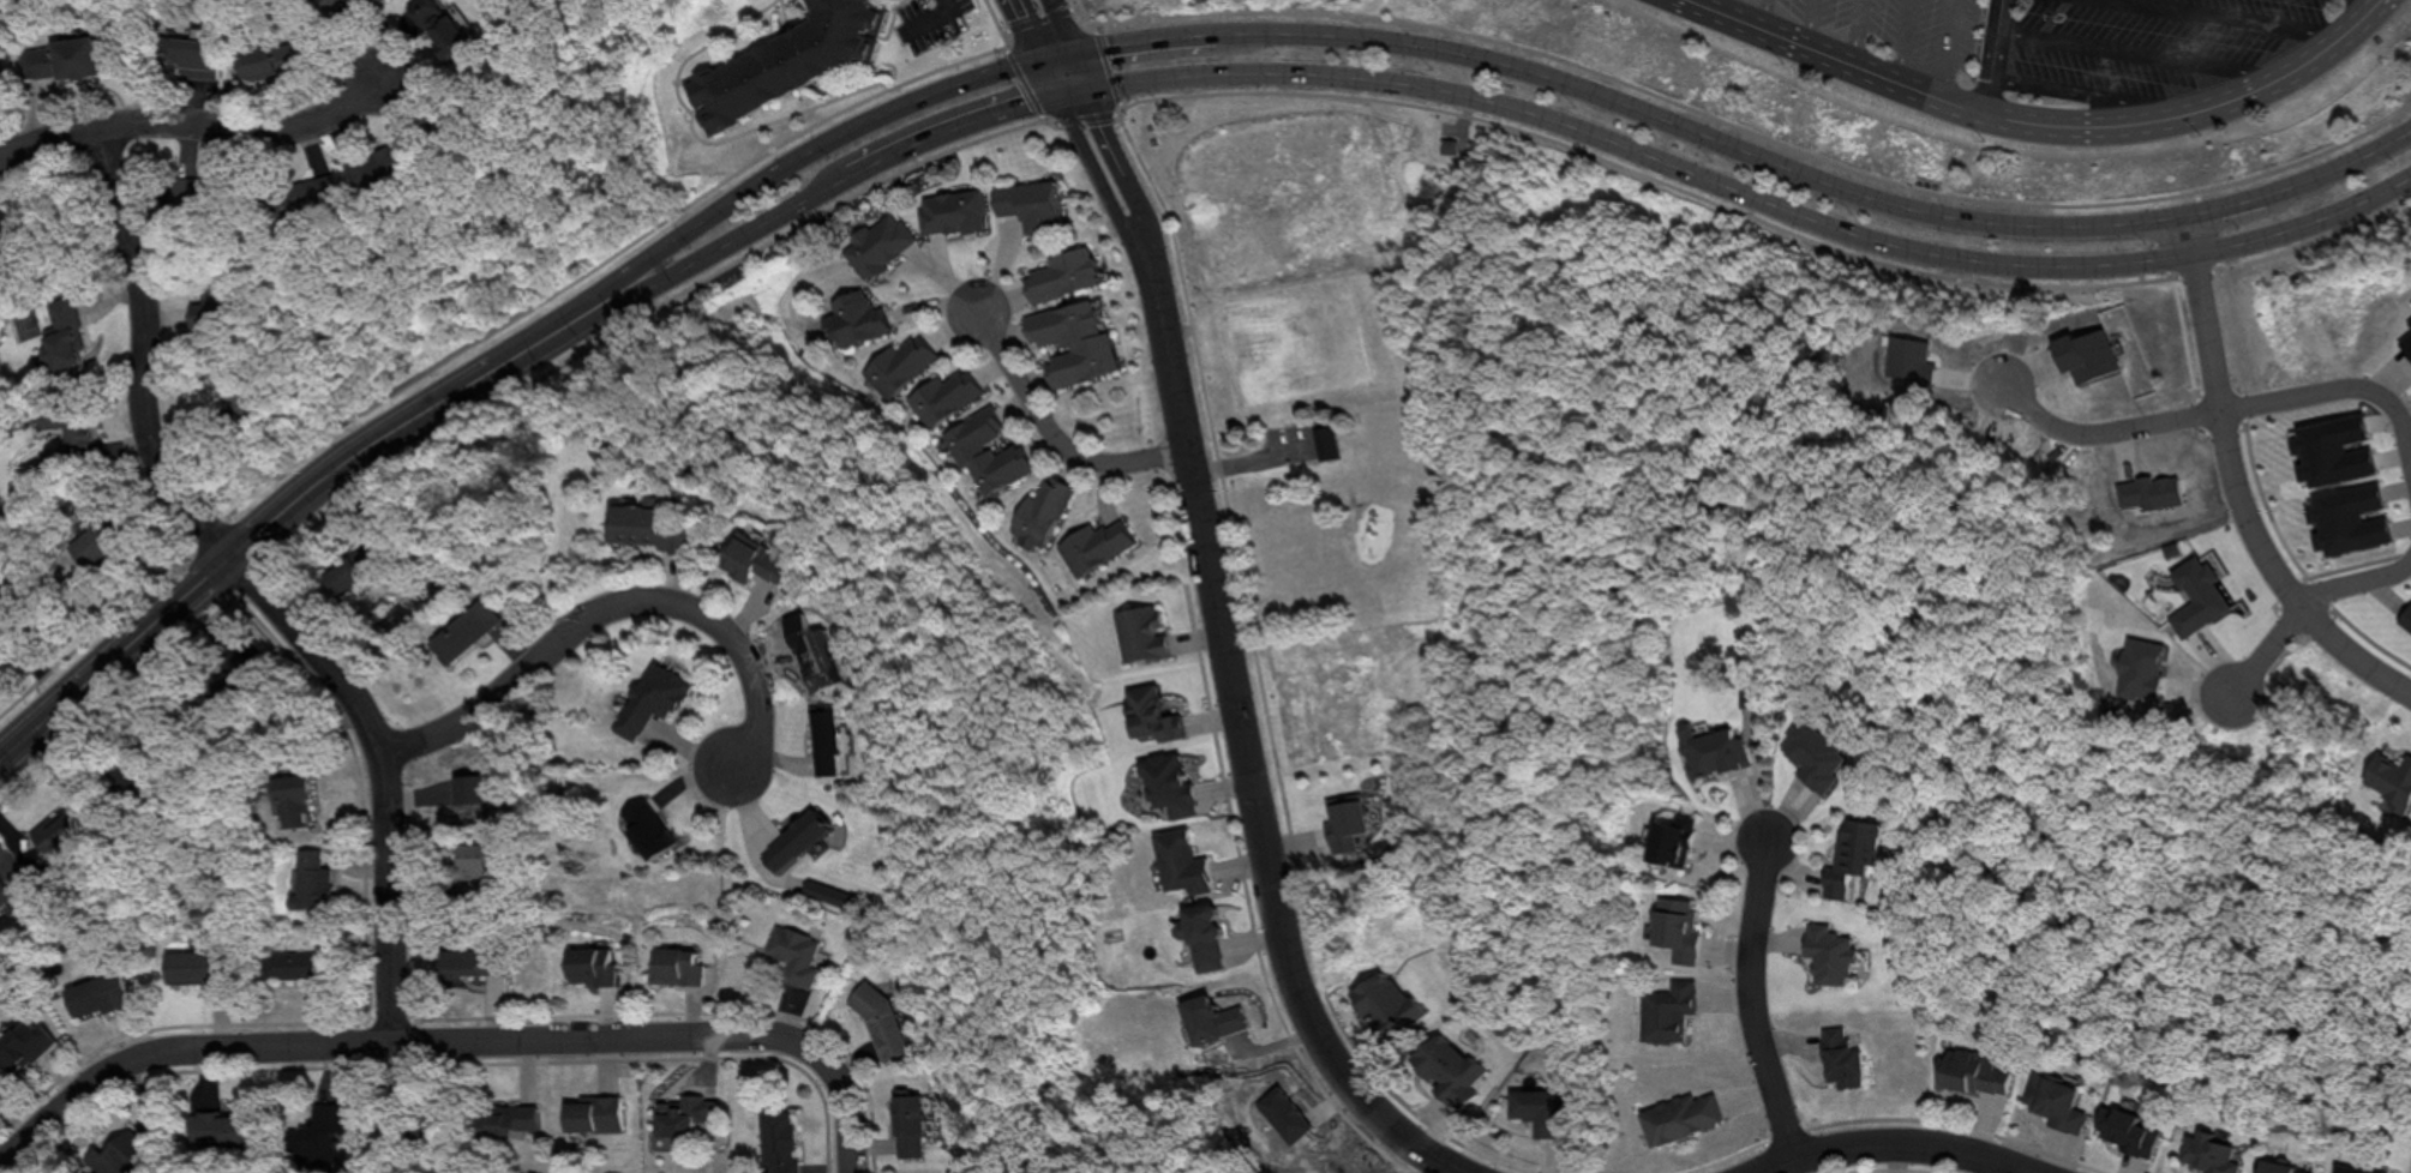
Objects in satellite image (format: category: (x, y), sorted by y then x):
road: (950, 0)
road: (1709, 4)
building: (364, 6)
road: (1758, 12)
road: (2247, 14)
road: (1807, 22)
building: (439, 26)
parking lot: (1897, 29)
road: (1852, 30)
road: (1899, 40)
road: (1063, 42)
road: (1401, 43)
parking lot: (2141, 44)
road: (1028, 46)
road: (1942, 47)
road: (2141, 48)
traffic signals: (1068, 52)
road: (1990, 54)
road: (1835, 56)
traffic signals: (1036, 59)
building: (61, 60)
building: (191, 60)
building: (786, 60)
building: (265, 64)
road: (1291, 73)
traffic signals: (1084, 84)
road: (2065, 88)
traffic signals: (1052, 91)
road: (2190, 107)
road: (196, 124)
road: (1133, 143)
building: (1027, 201)
road: (1144, 211)
road: (1117, 217)
building: (7, 223)
road: (2302, 223)
building: (1058, 272)
building: (854, 315)
building: (60, 335)
building: (1069, 341)
building: (899, 363)
road: (2338, 387)
building: (943, 395)
park: (1485, 402)
building: (74, 431)
road: (1050, 432)
road: (2103, 432)
building: (1325, 444)
building: (984, 451)
road: (2235, 487)
building: (1038, 517)
building: (642, 528)
building: (91, 542)
building: (1091, 546)
building: (750, 563)
road: (214, 567)
building: (340, 576)
road: (2355, 581)
road: (252, 584)
road: (605, 608)
road: (1248, 618)
building: (2405, 618)
building: (1138, 632)
building: (466, 633)
road: (2266, 649)
building: (644, 699)
building: (1150, 712)
building: (824, 741)
building: (1711, 747)
building: (1165, 783)
road: (1253, 796)
building: (290, 805)
building: (1344, 819)
building: (644, 828)
building: (793, 838)
building: (1667, 842)
building: (1849, 855)
building: (1177, 860)
building: (472, 870)
building: (308, 877)
building: (4, 894)
building: (1675, 926)
building: (1201, 936)
building: (1825, 952)
building: (793, 954)
building: (468, 962)
building: (197, 963)
building: (298, 966)
building: (672, 966)
building: (590, 968)
building: (96, 1000)
road: (1747, 1000)
building: (1665, 1010)
building: (1210, 1017)
building: (877, 1021)
building: (1398, 1024)
road: (456, 1039)
building: (22, 1045)
building: (1840, 1057)
building: (1445, 1067)
building: (1968, 1071)
building: (2051, 1101)
building: (1535, 1112)
building: (589, 1114)
building: (682, 1114)
building: (508, 1115)
building: (1679, 1117)
building: (906, 1125)
building: (322, 1126)
building: (2127, 1132)
building: (776, 1141)
road: (1891, 1143)
building: (2206, 1155)
building: (2277, 1168)
building: (2351, 1169)

